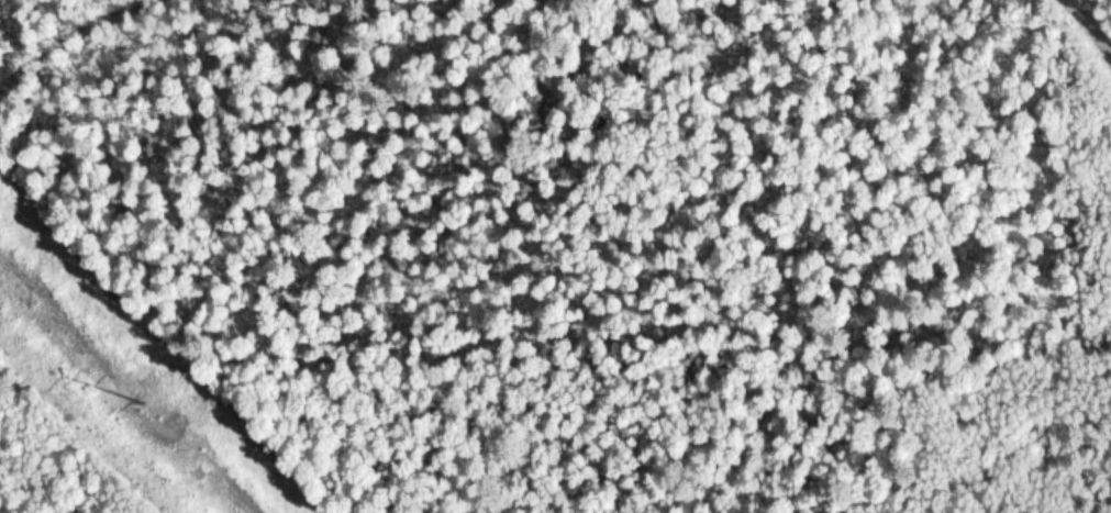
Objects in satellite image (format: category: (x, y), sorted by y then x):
road: (1087, 29)
road: (86, 48)
power tower: (147, 400)

